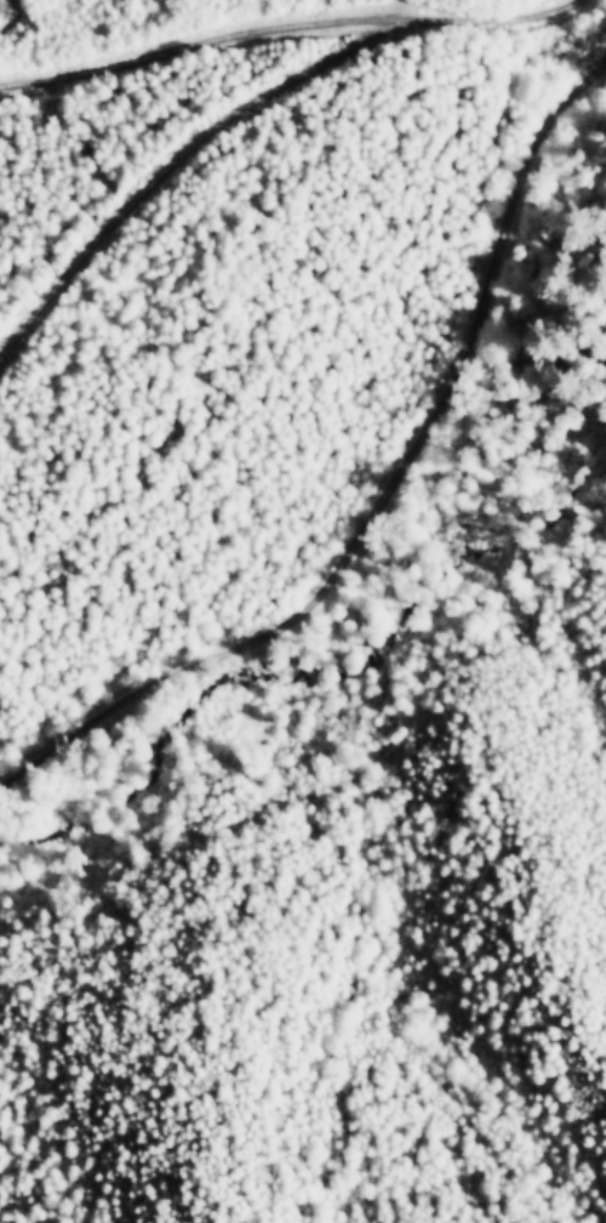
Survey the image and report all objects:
road: (287, 28)
road: (178, 154)
road: (384, 490)

